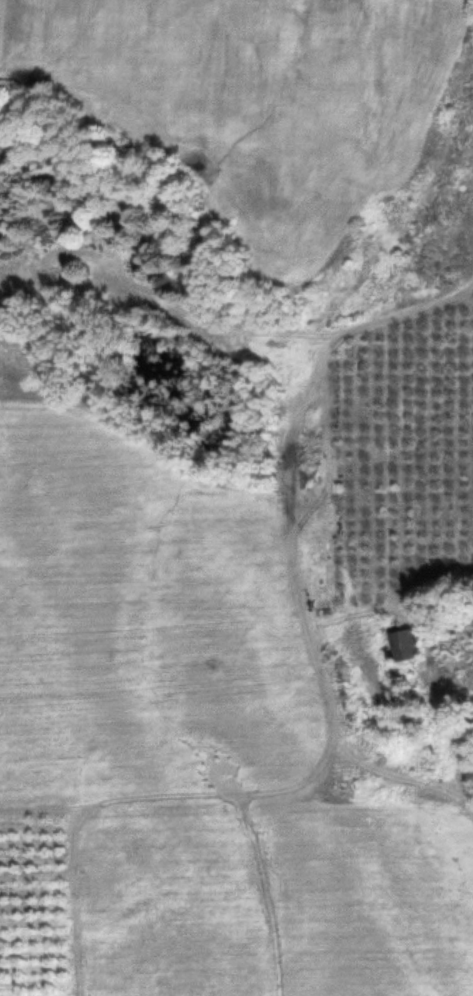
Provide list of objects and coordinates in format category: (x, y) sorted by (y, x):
building: (401, 644)

